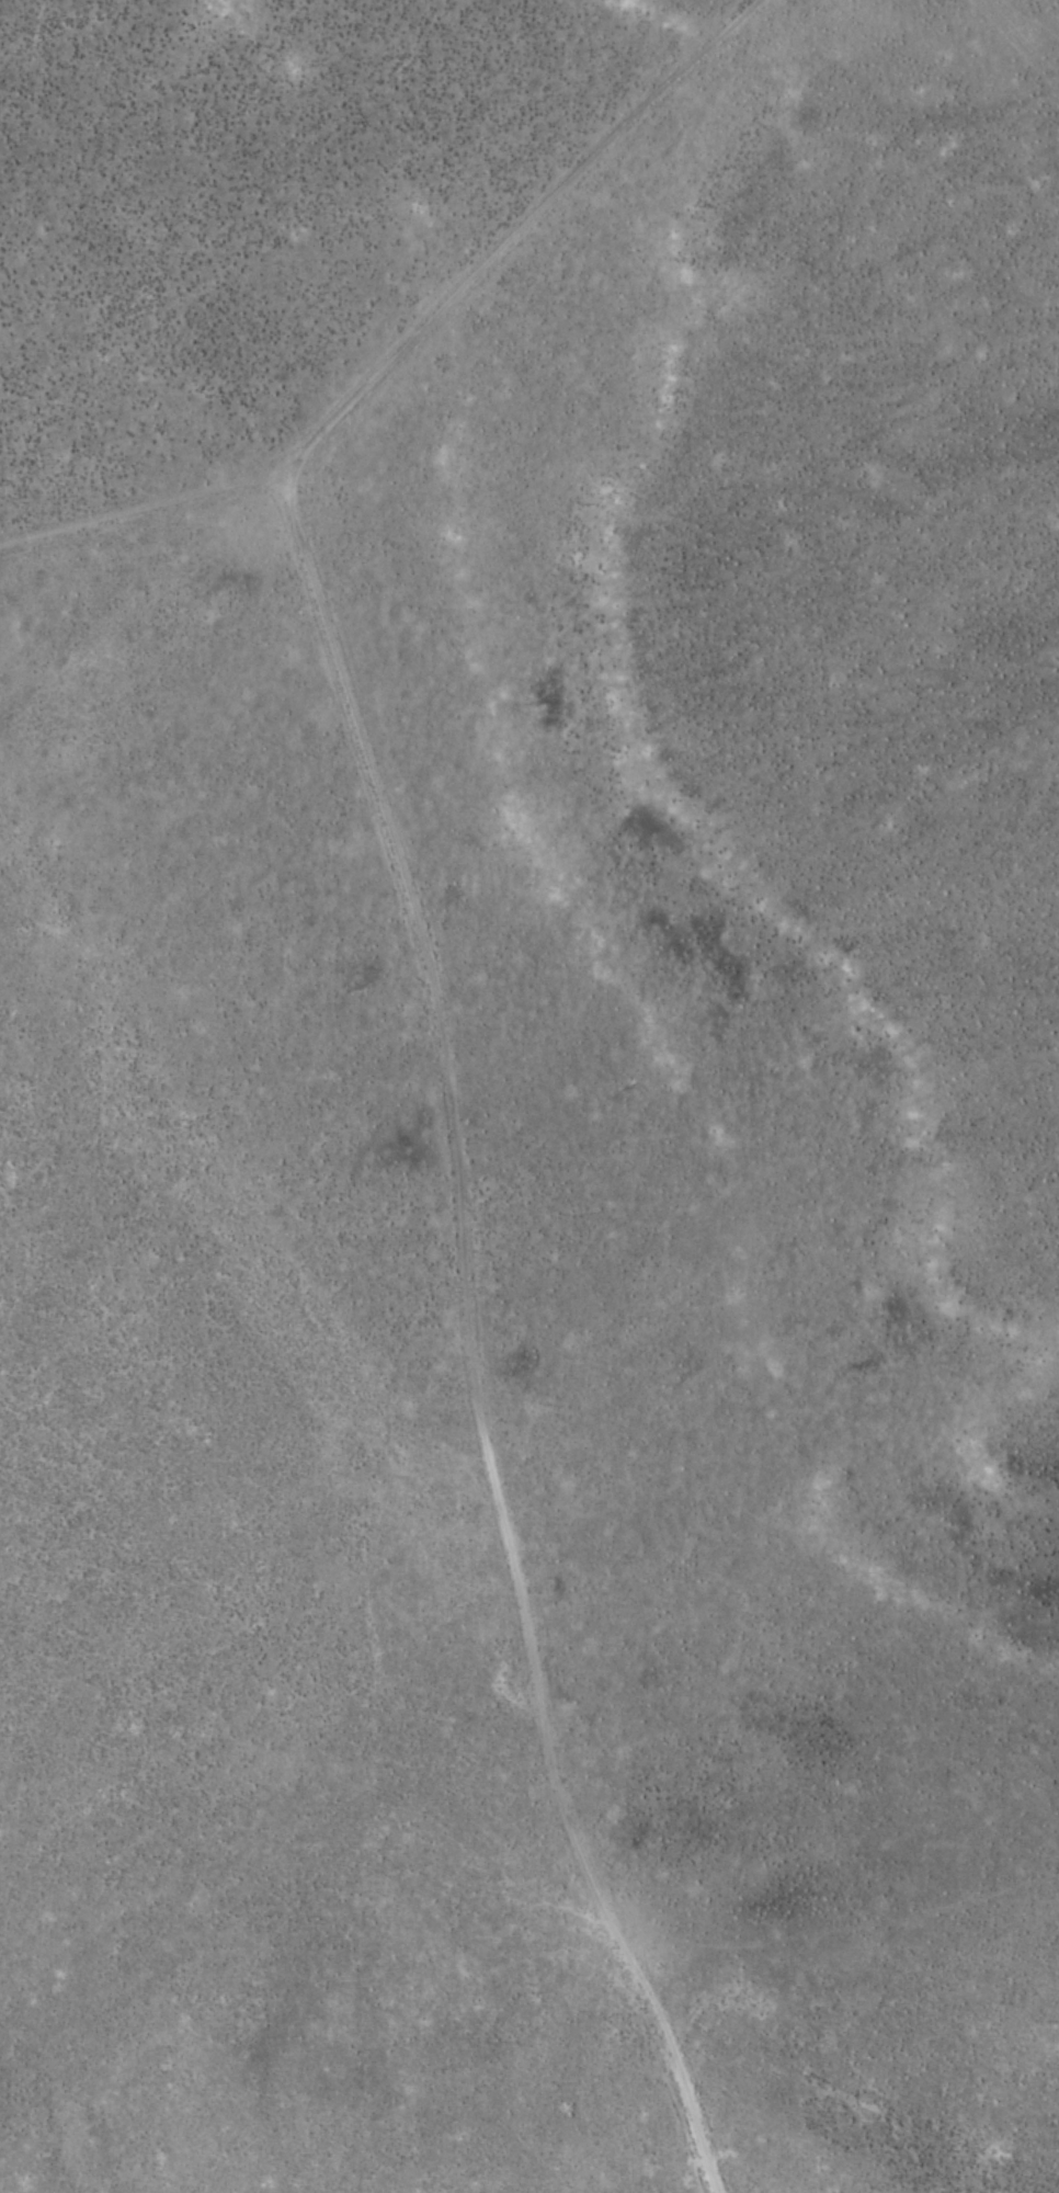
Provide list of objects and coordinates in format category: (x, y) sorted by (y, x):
road: (631, 70)

